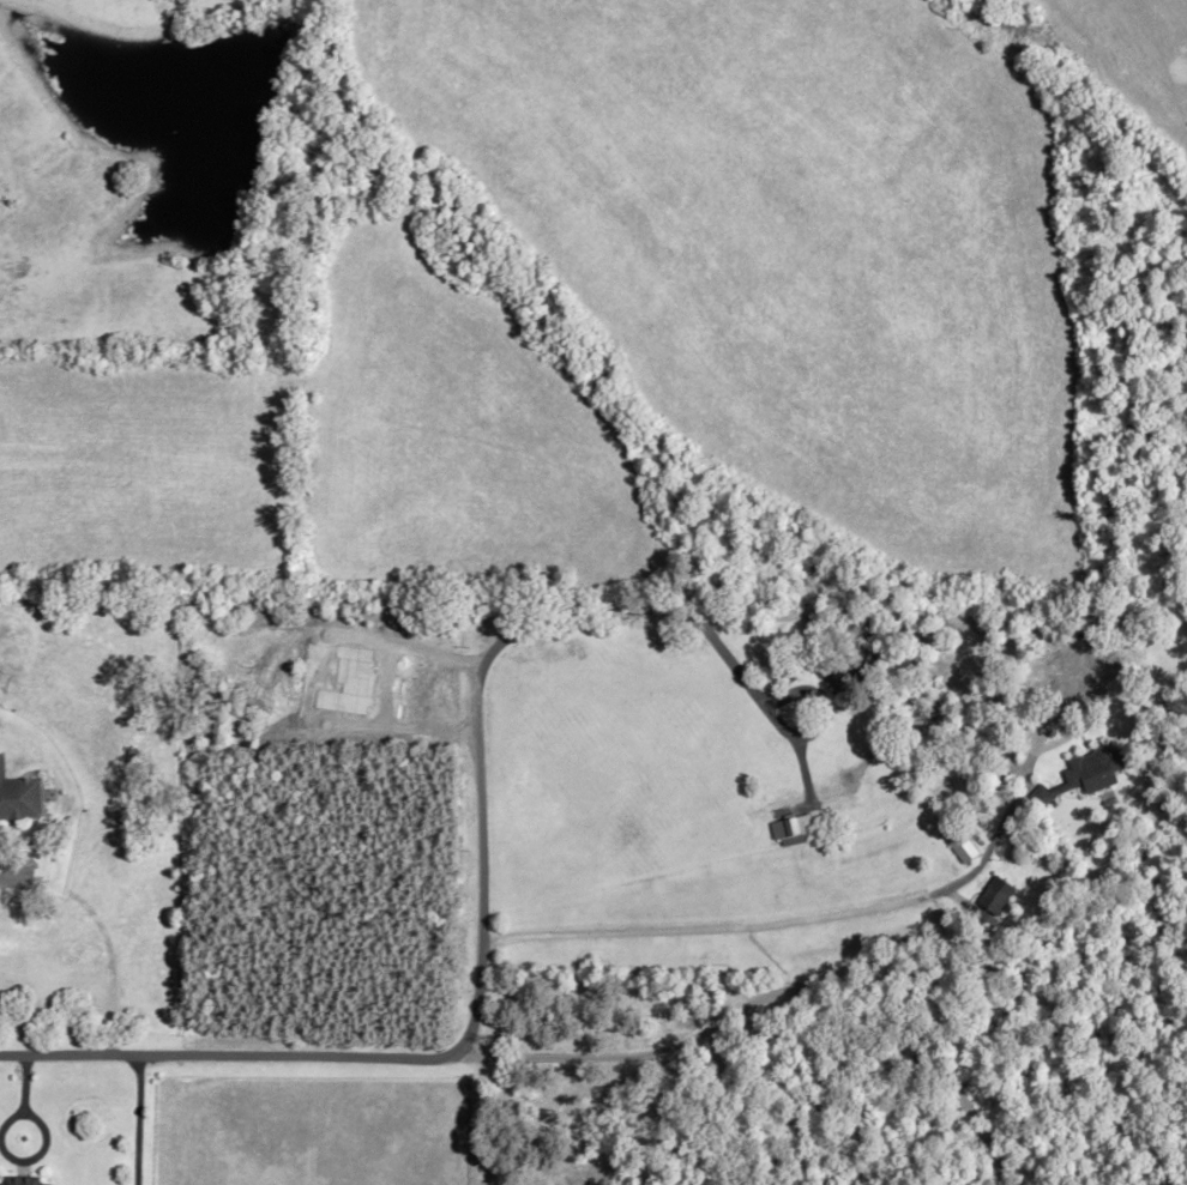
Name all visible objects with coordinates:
road: (637, 600)
building: (843, 677)
building: (1090, 773)
building: (18, 797)
building: (793, 830)
building: (962, 842)
road: (8, 877)
building: (996, 900)
road: (800, 920)
road: (771, 993)
road: (434, 1054)
road: (135, 1118)
building: (18, 1180)

